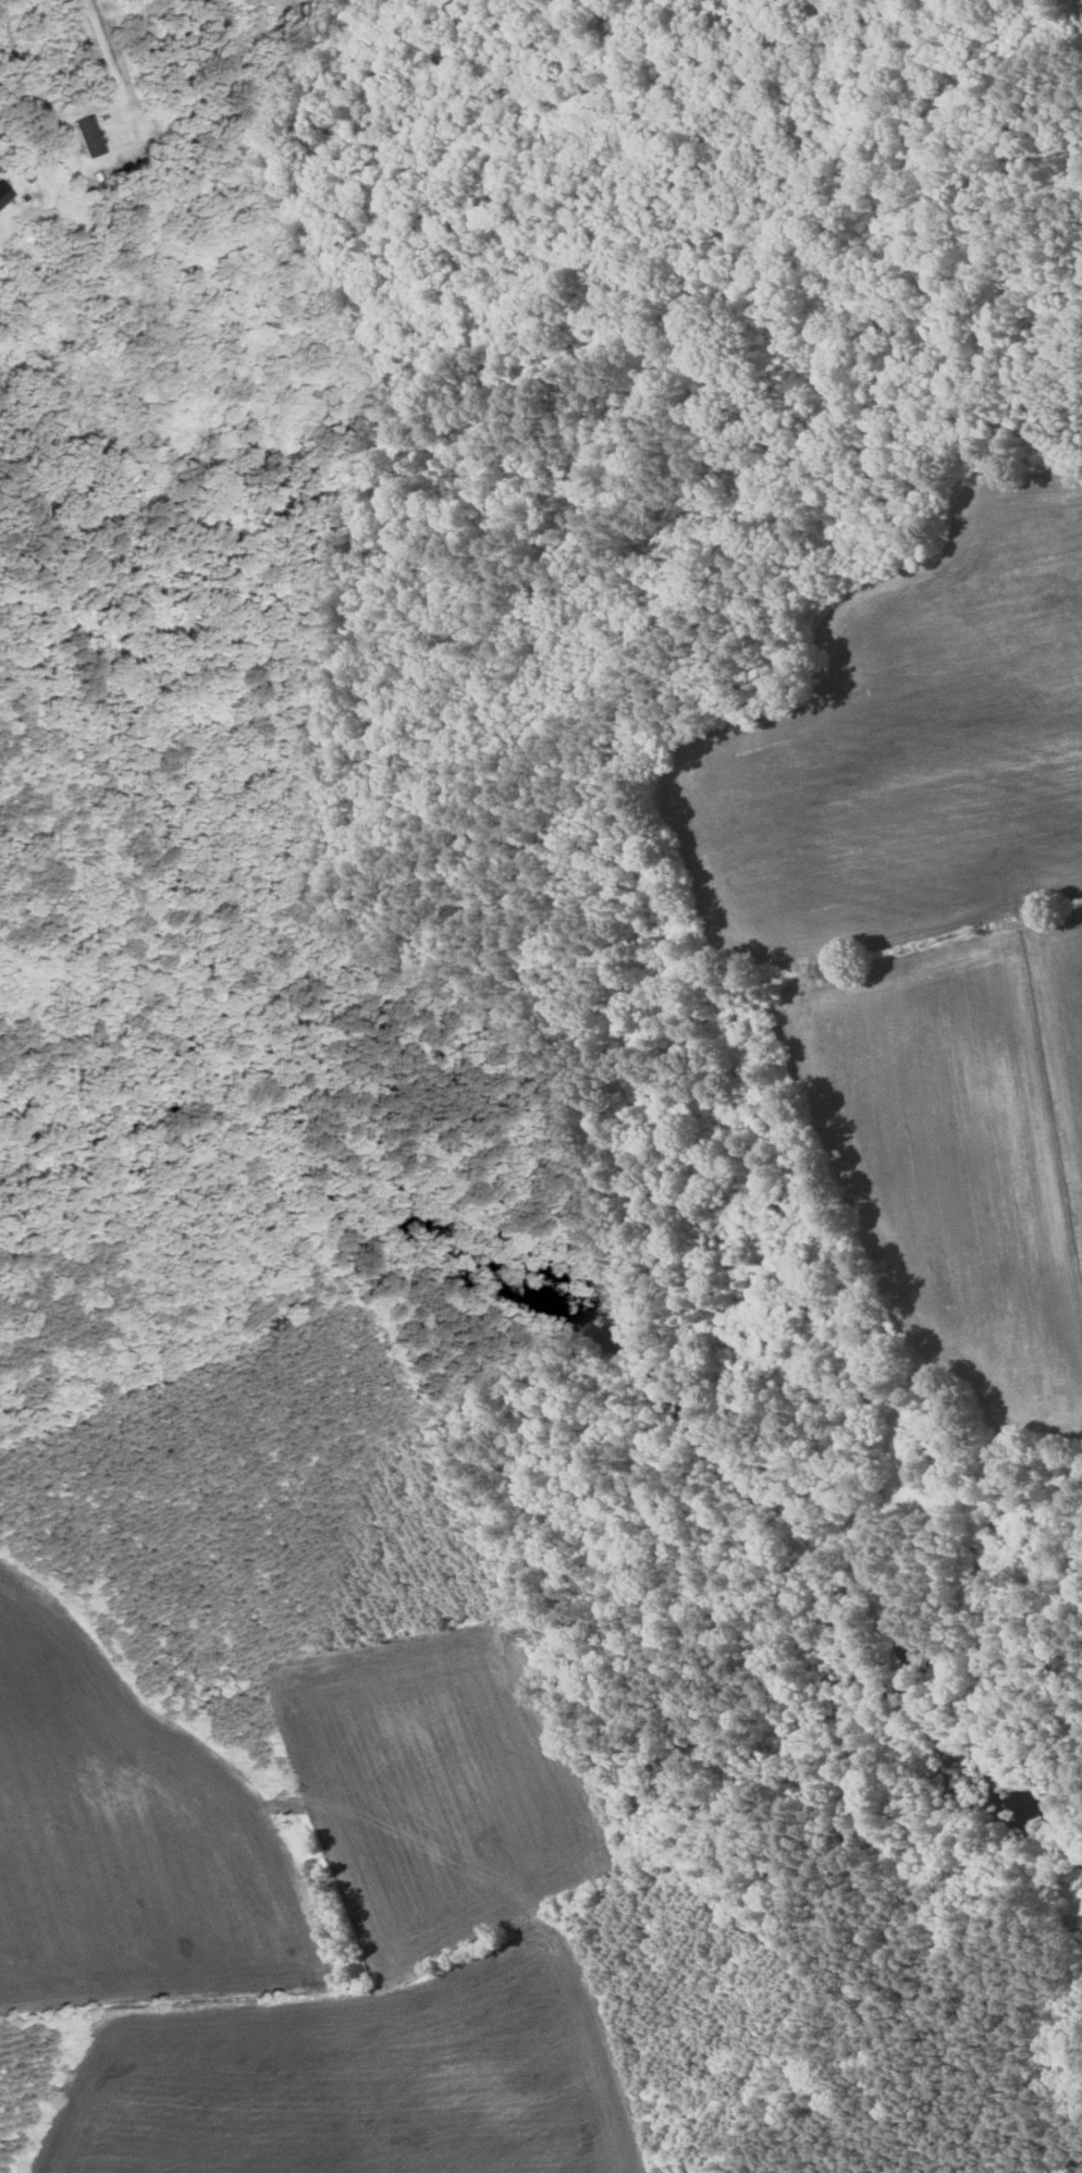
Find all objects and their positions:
building: (727, 13)
building: (3, 194)

